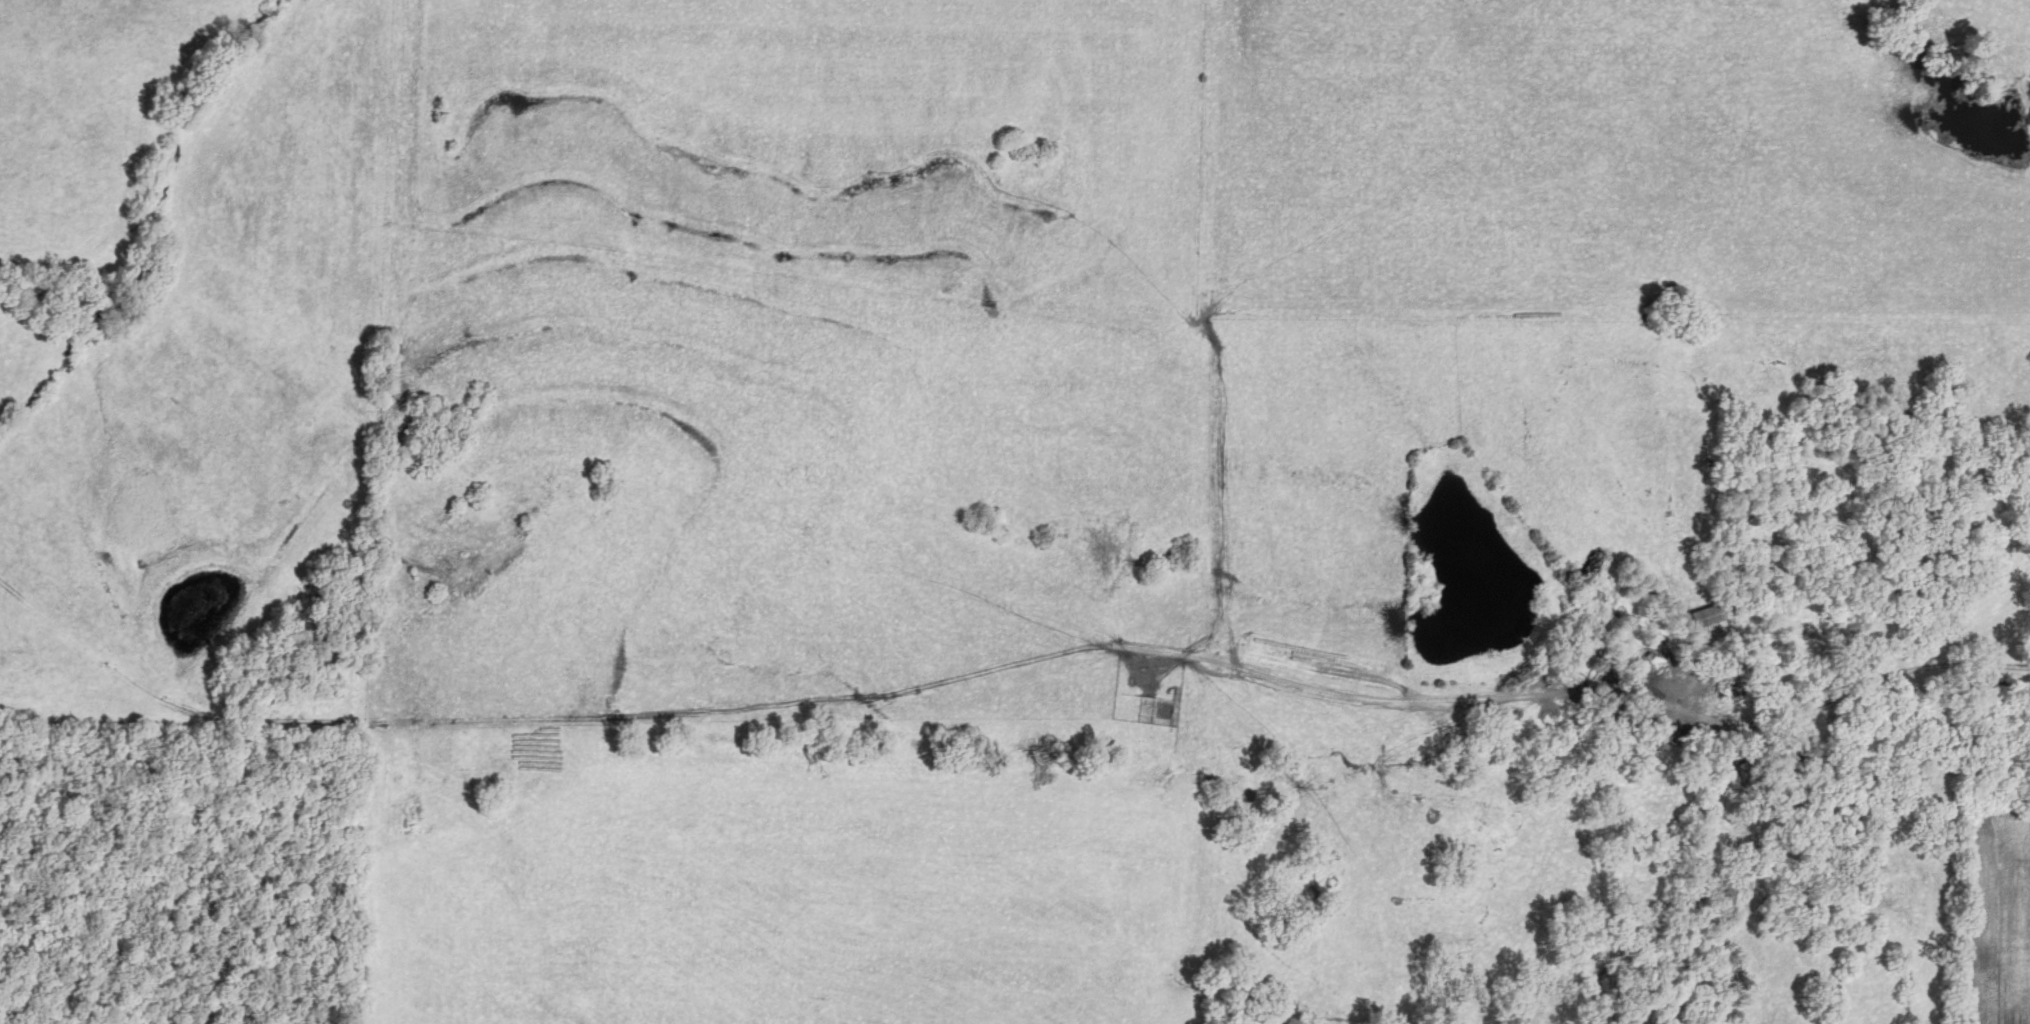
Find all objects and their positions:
building: (1705, 624)

